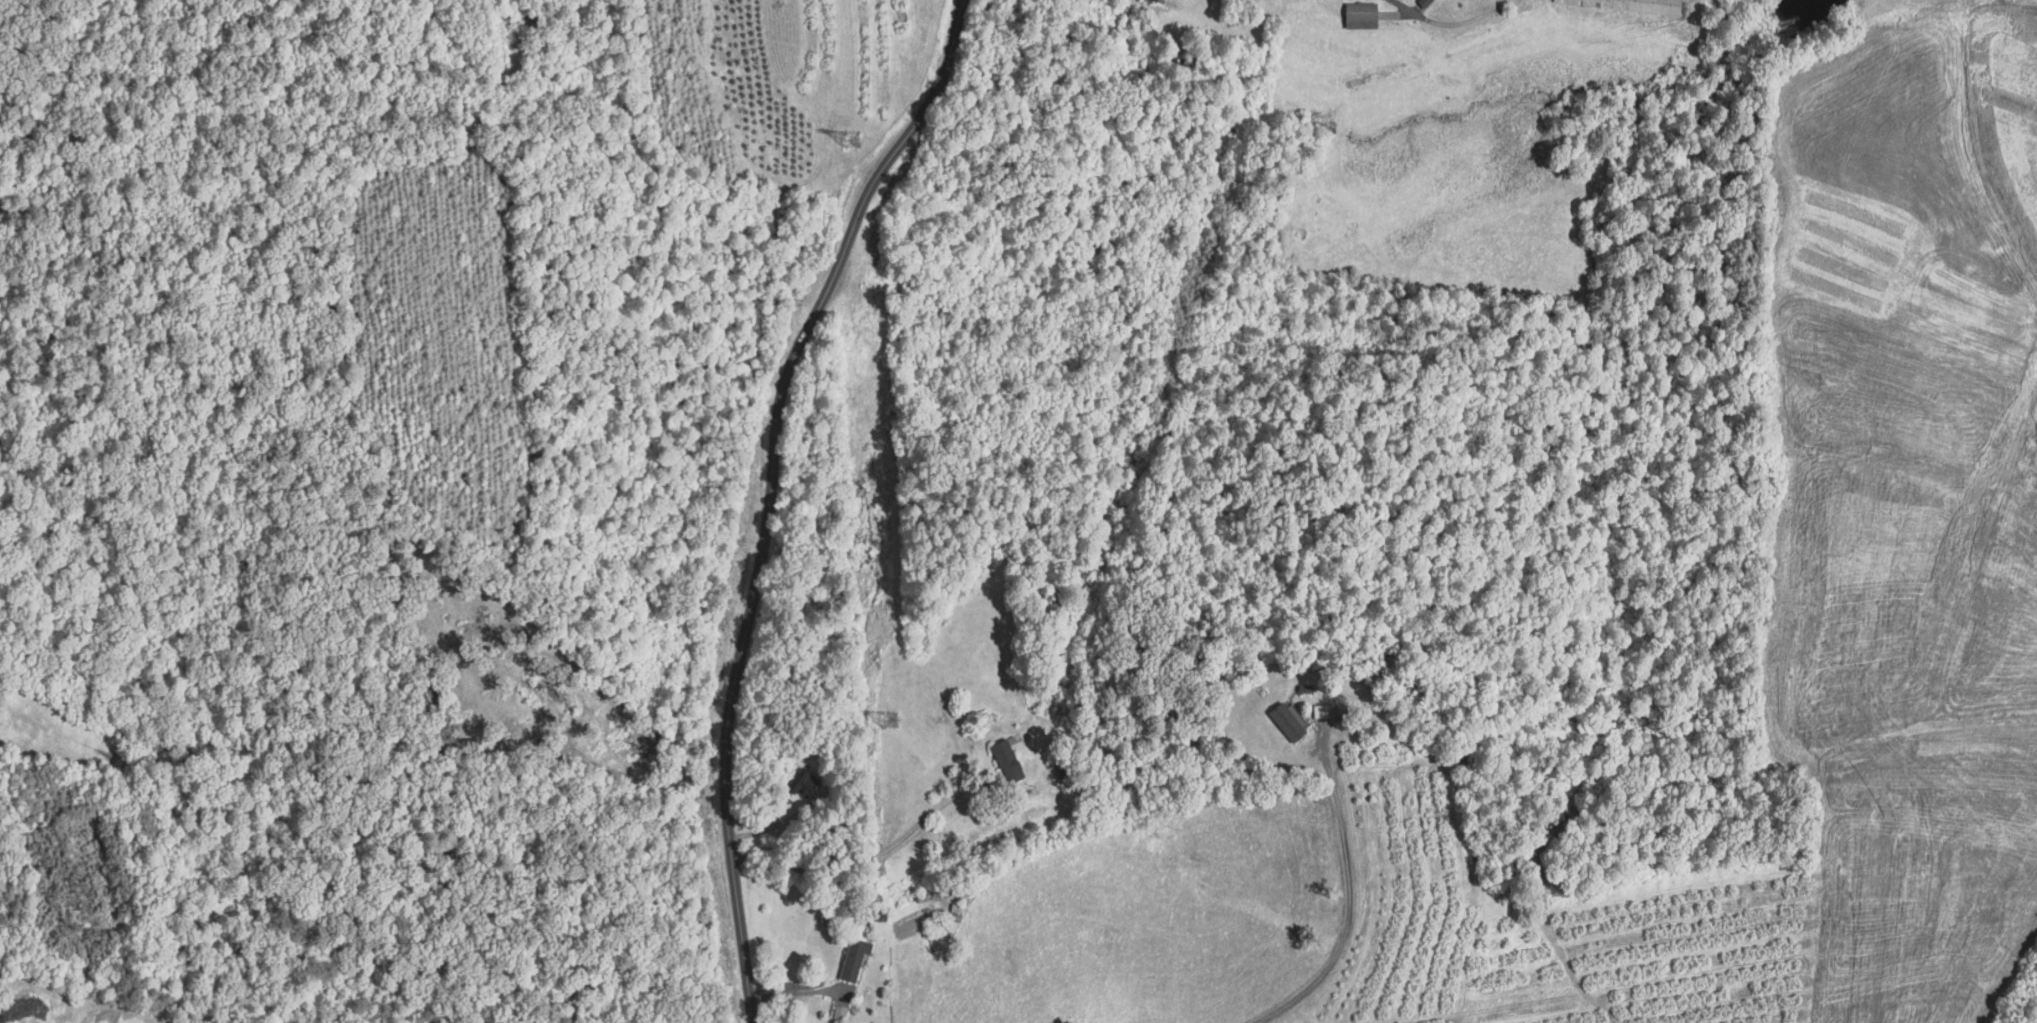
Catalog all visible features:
building: (1157, 3)
road: (1402, 6)
building: (1624, 6)
building: (1361, 15)
power tower: (850, 138)
road: (769, 493)
building: (1305, 689)
building: (1320, 711)
power tower: (890, 719)
building: (1287, 720)
building: (1007, 757)
building: (802, 781)
road: (875, 858)
road: (1349, 892)
building: (880, 915)
building: (854, 957)
building: (841, 1009)

